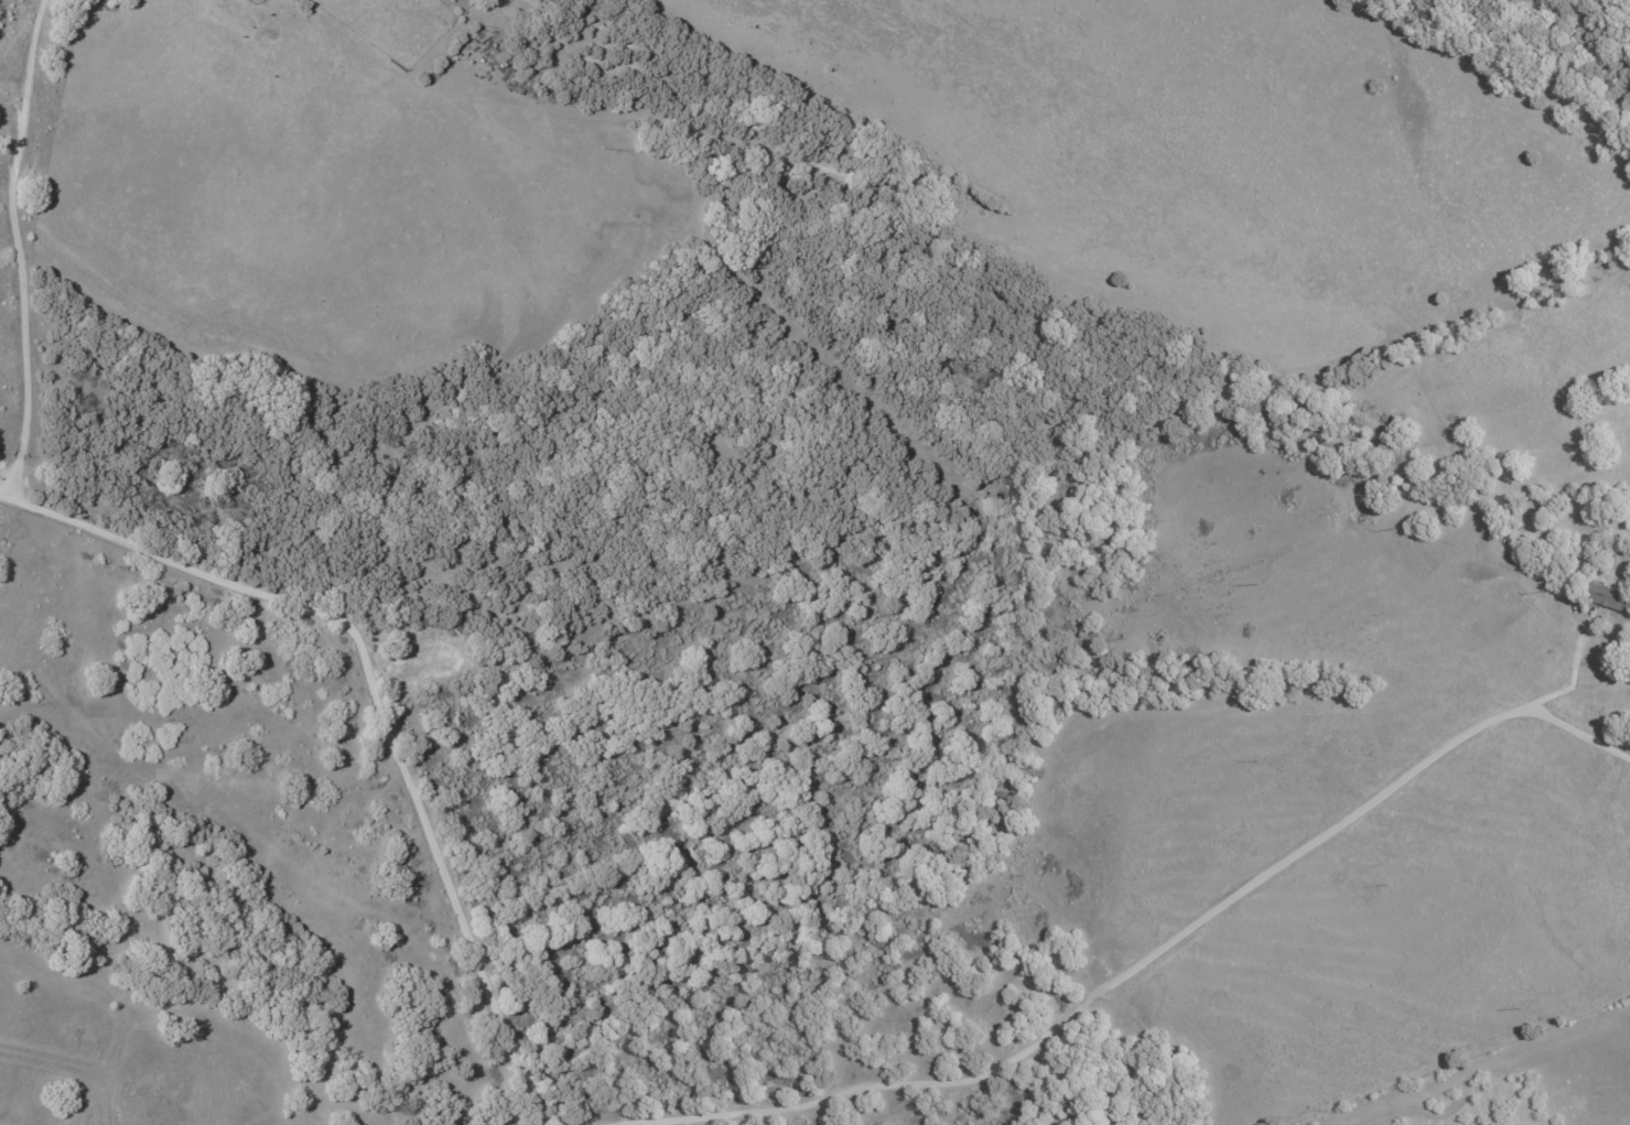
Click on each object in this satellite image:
road: (24, 249)
road: (4, 495)
building: (1609, 596)
road: (1572, 680)
road: (378, 702)
road: (1579, 732)
road: (1112, 983)

